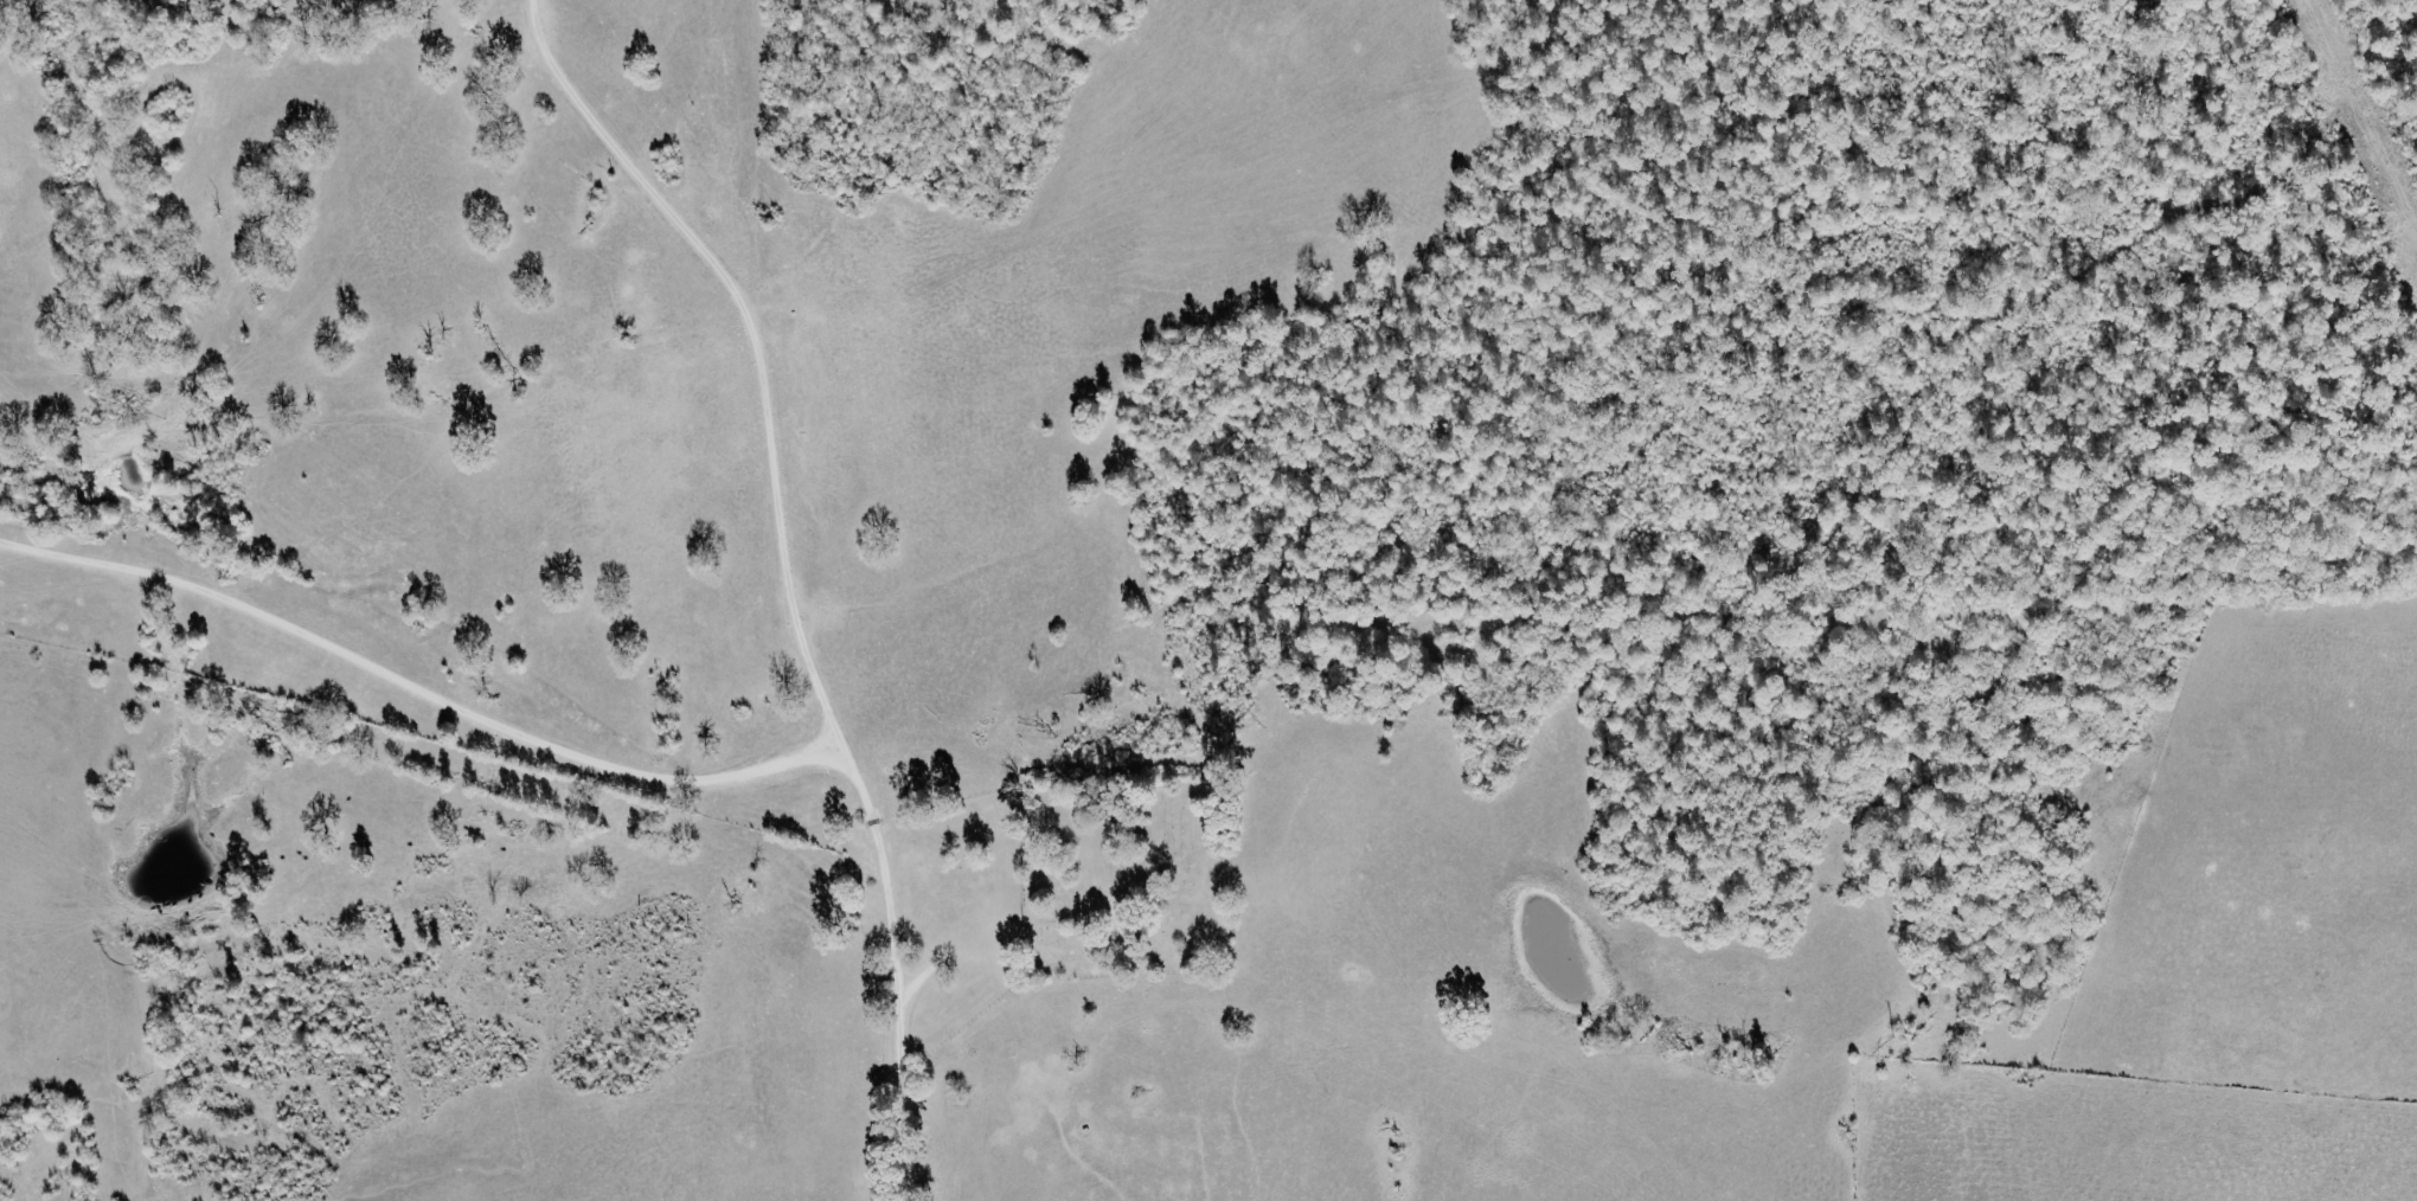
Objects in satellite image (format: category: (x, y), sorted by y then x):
park: (1123, 876)
road: (889, 916)

